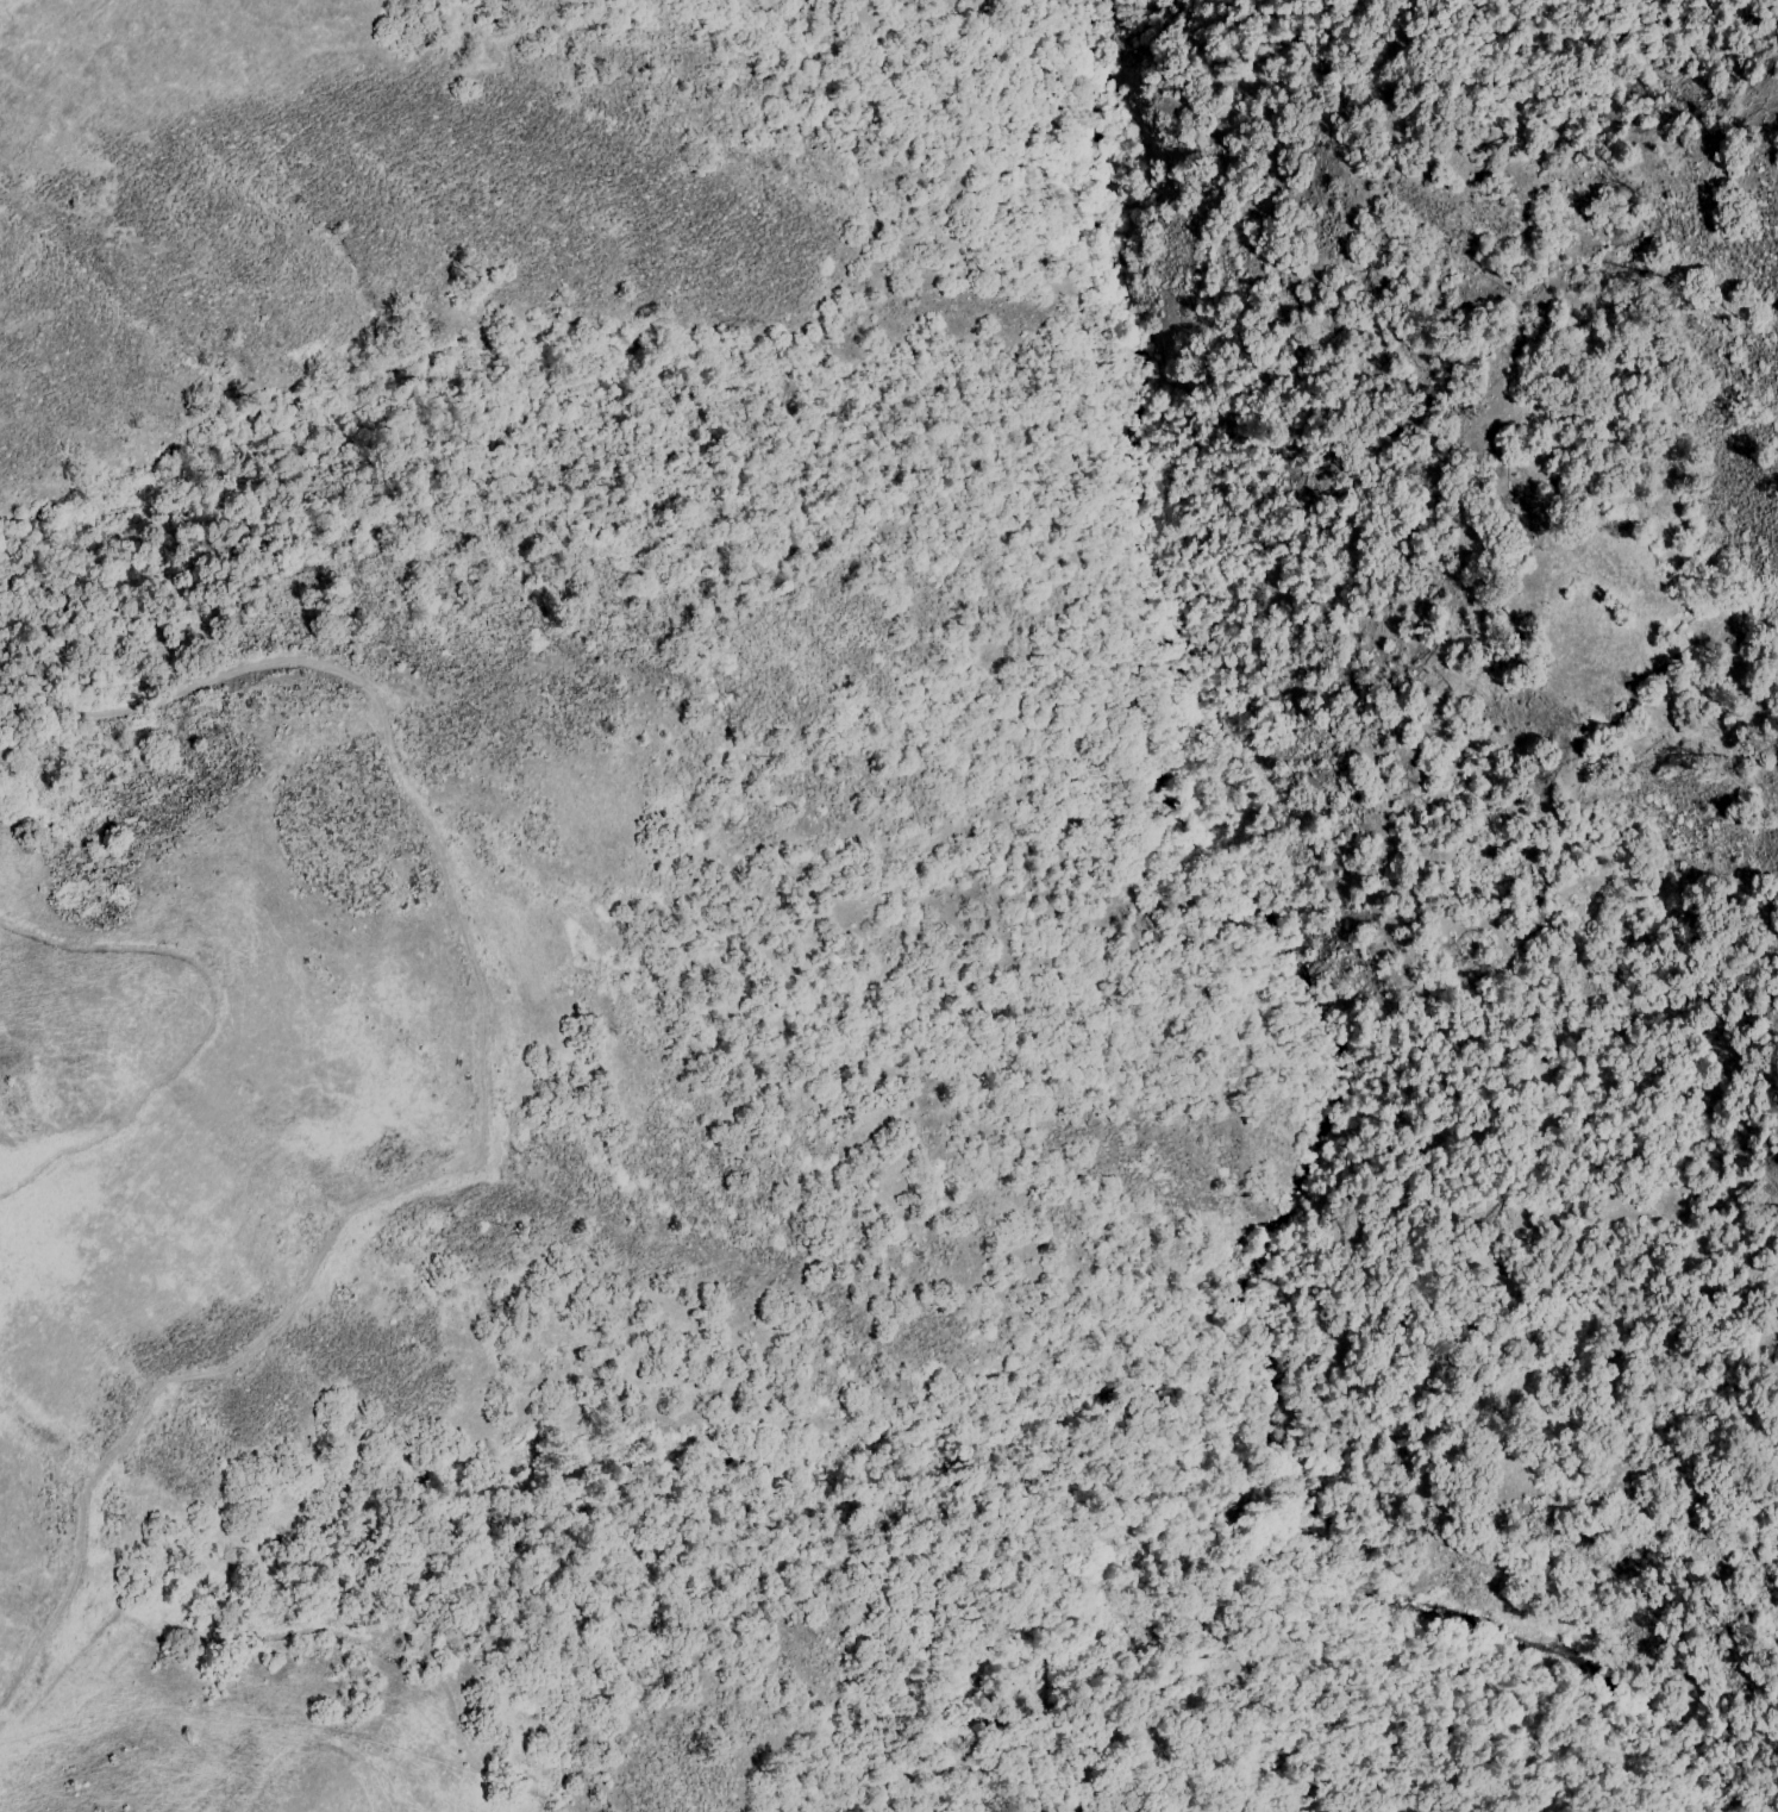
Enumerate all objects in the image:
park: (845, 119)

